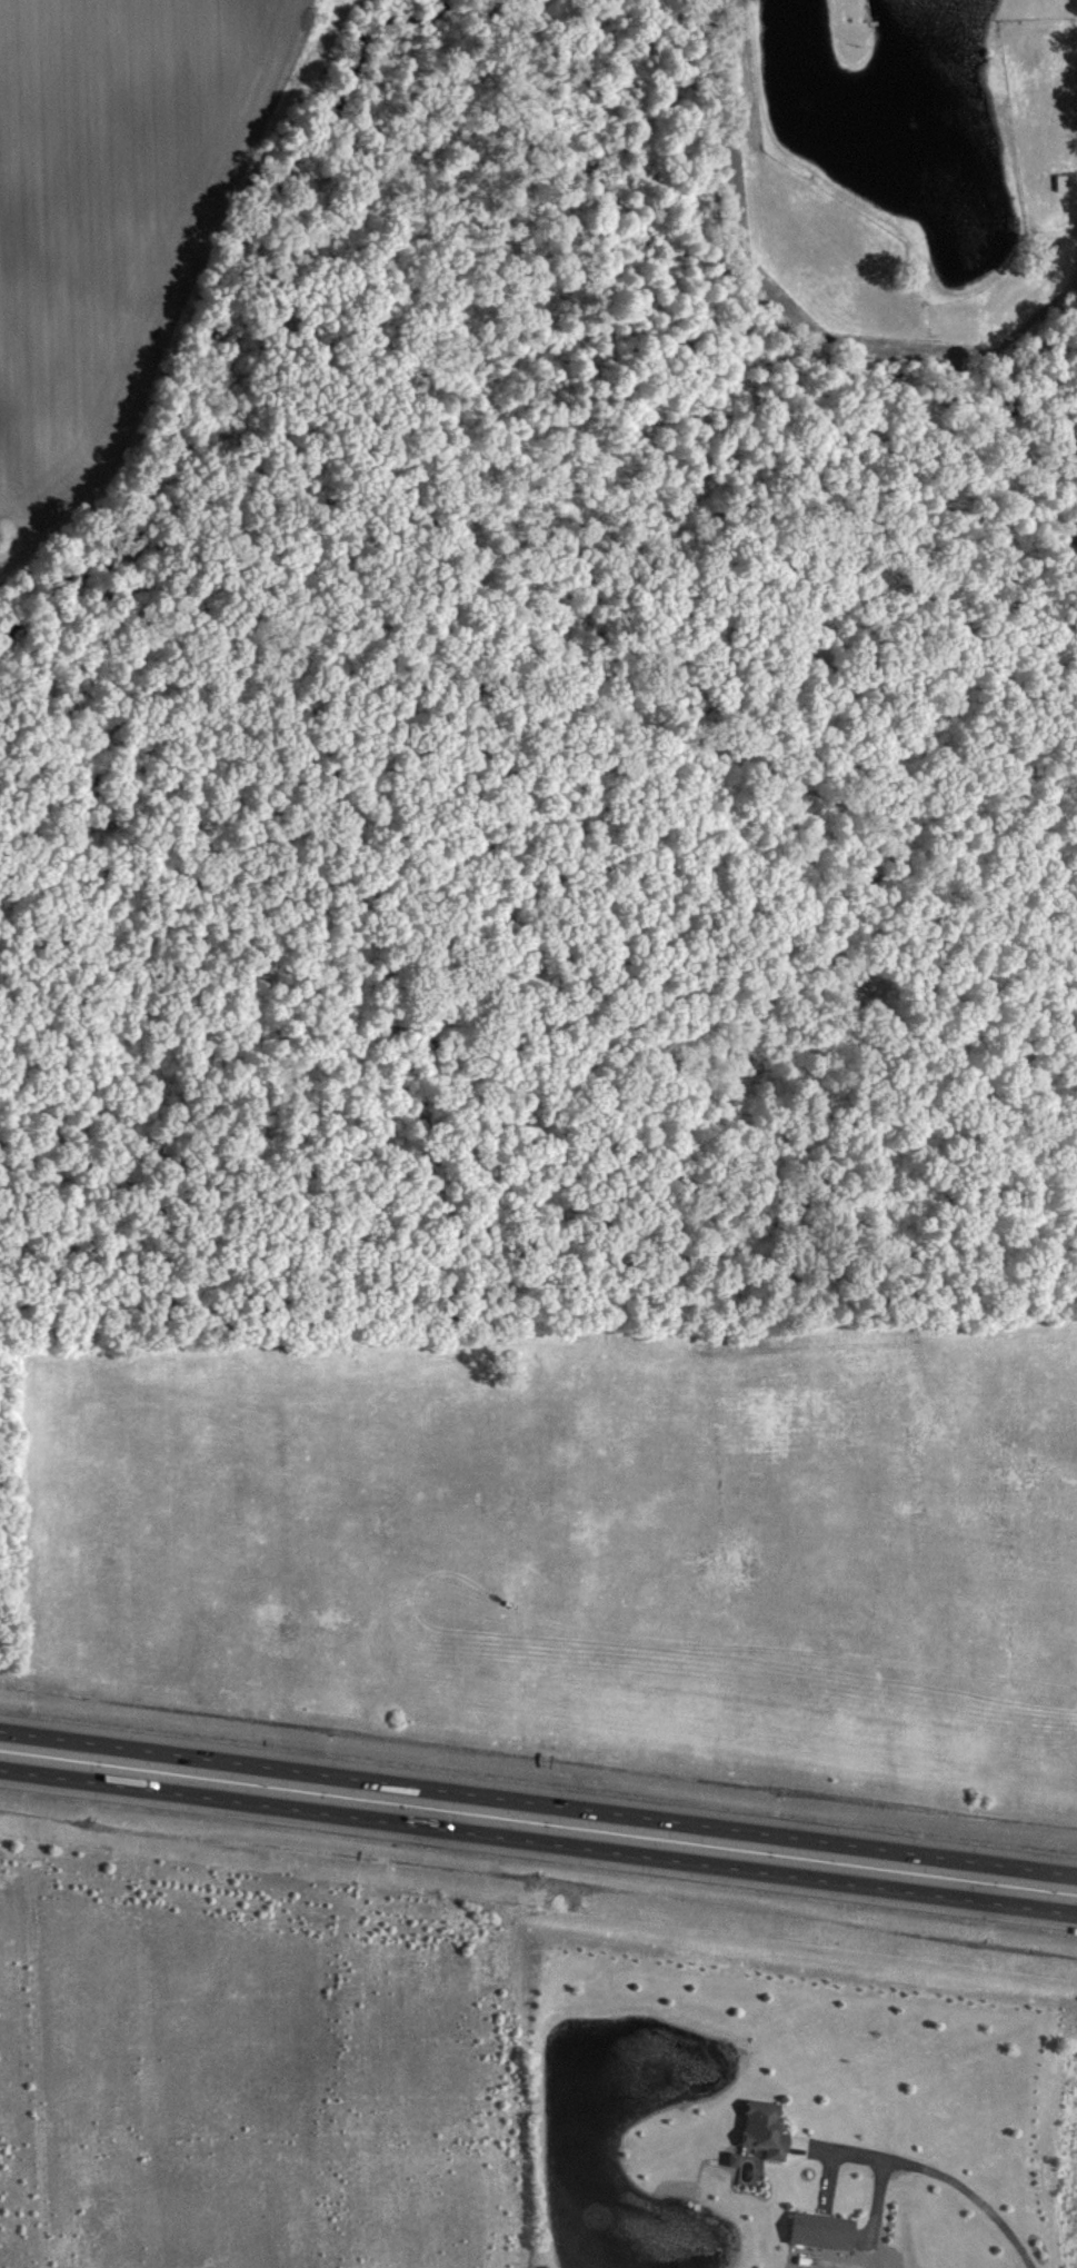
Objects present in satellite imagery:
crop: (121, 216)
road: (538, 1803)
road: (538, 1839)
road: (791, 2127)
building: (764, 2128)
road: (929, 2169)
road: (825, 2181)
road: (874, 2206)
building: (819, 2229)

